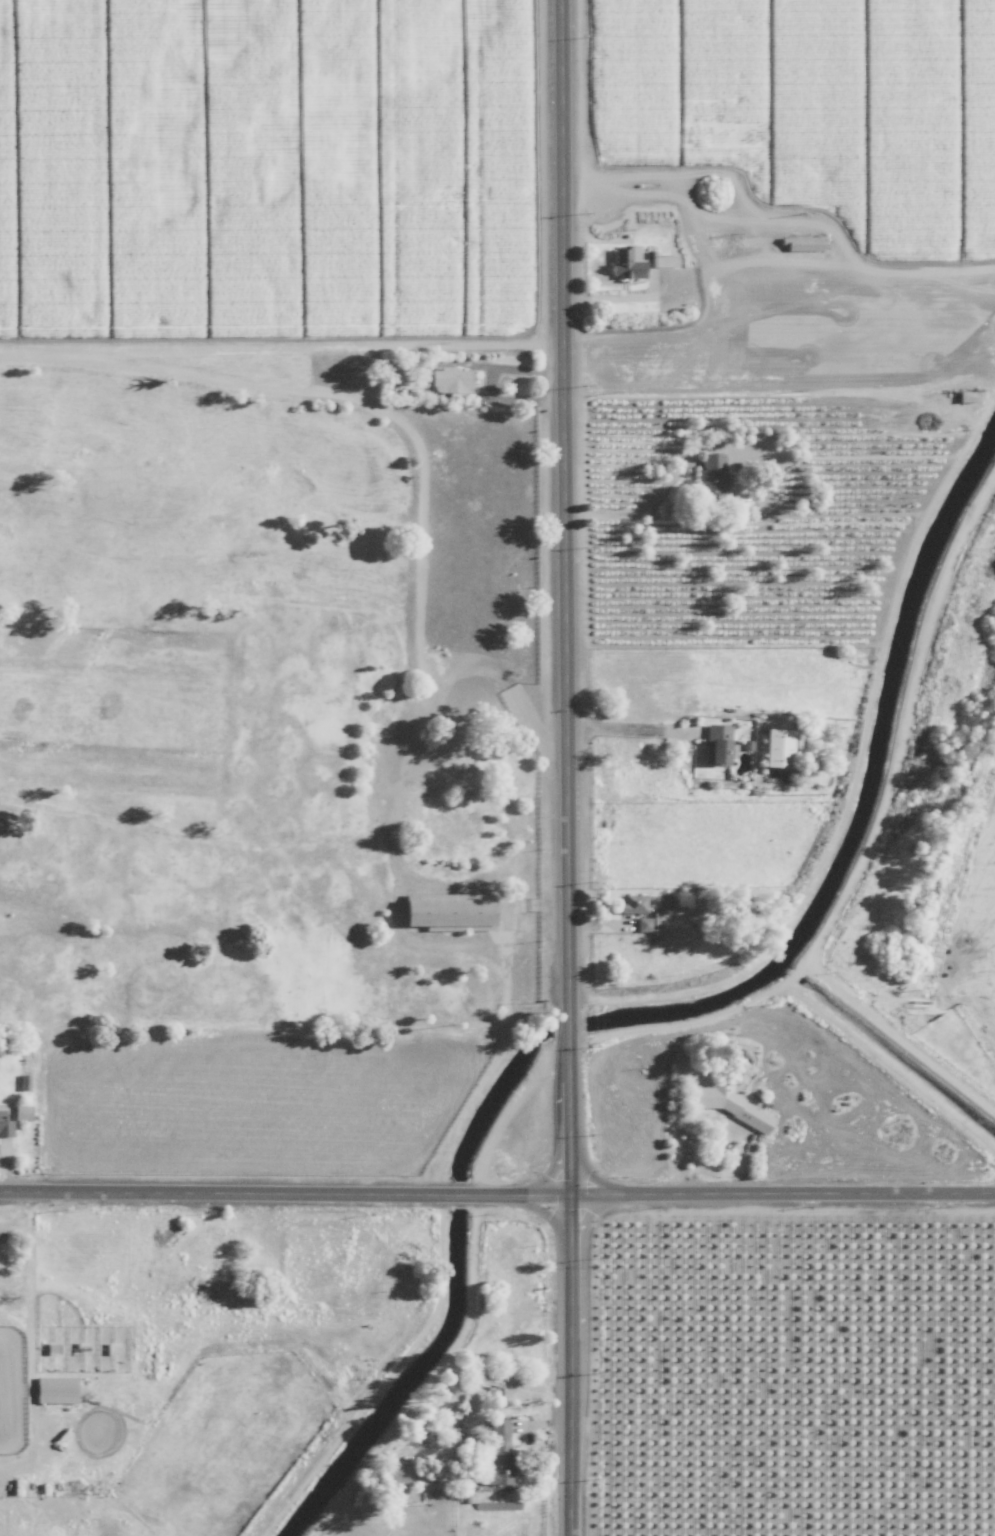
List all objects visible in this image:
building: (637, 261)
road: (649, 328)
building: (450, 380)
building: (711, 473)
road: (564, 499)
road: (633, 506)
building: (718, 744)
building: (777, 747)
building: (632, 904)
building: (650, 923)
road: (567, 1018)
building: (731, 1106)
building: (22, 1113)
road: (567, 1115)
building: (5, 1125)
road: (284, 1192)
road: (782, 1192)
road: (569, 1364)
building: (498, 1453)

